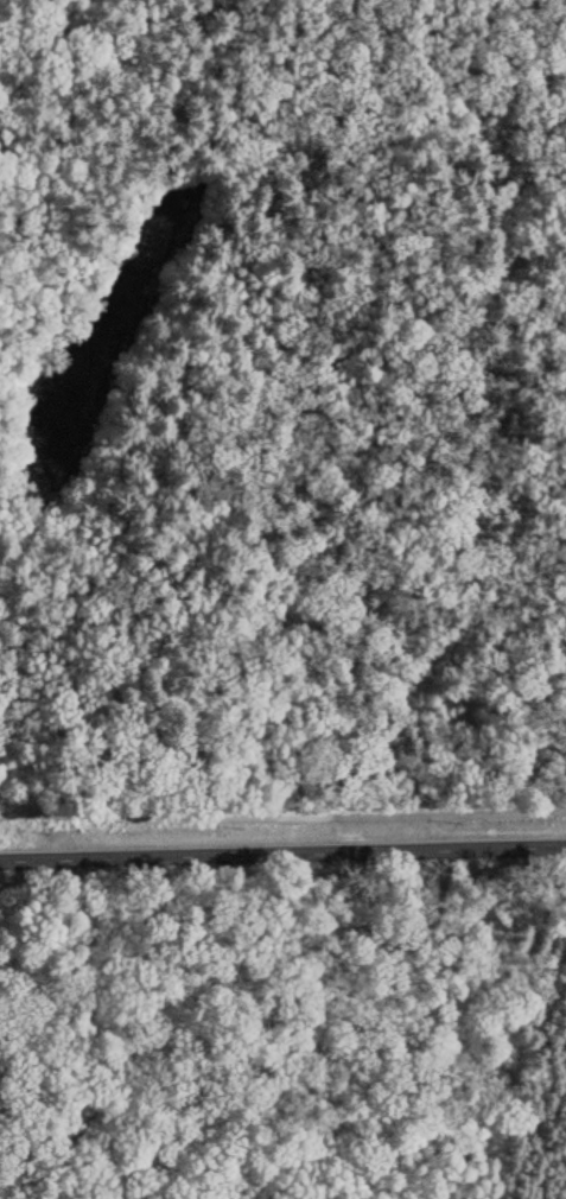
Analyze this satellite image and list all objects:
road: (282, 852)
road: (235, 1073)

